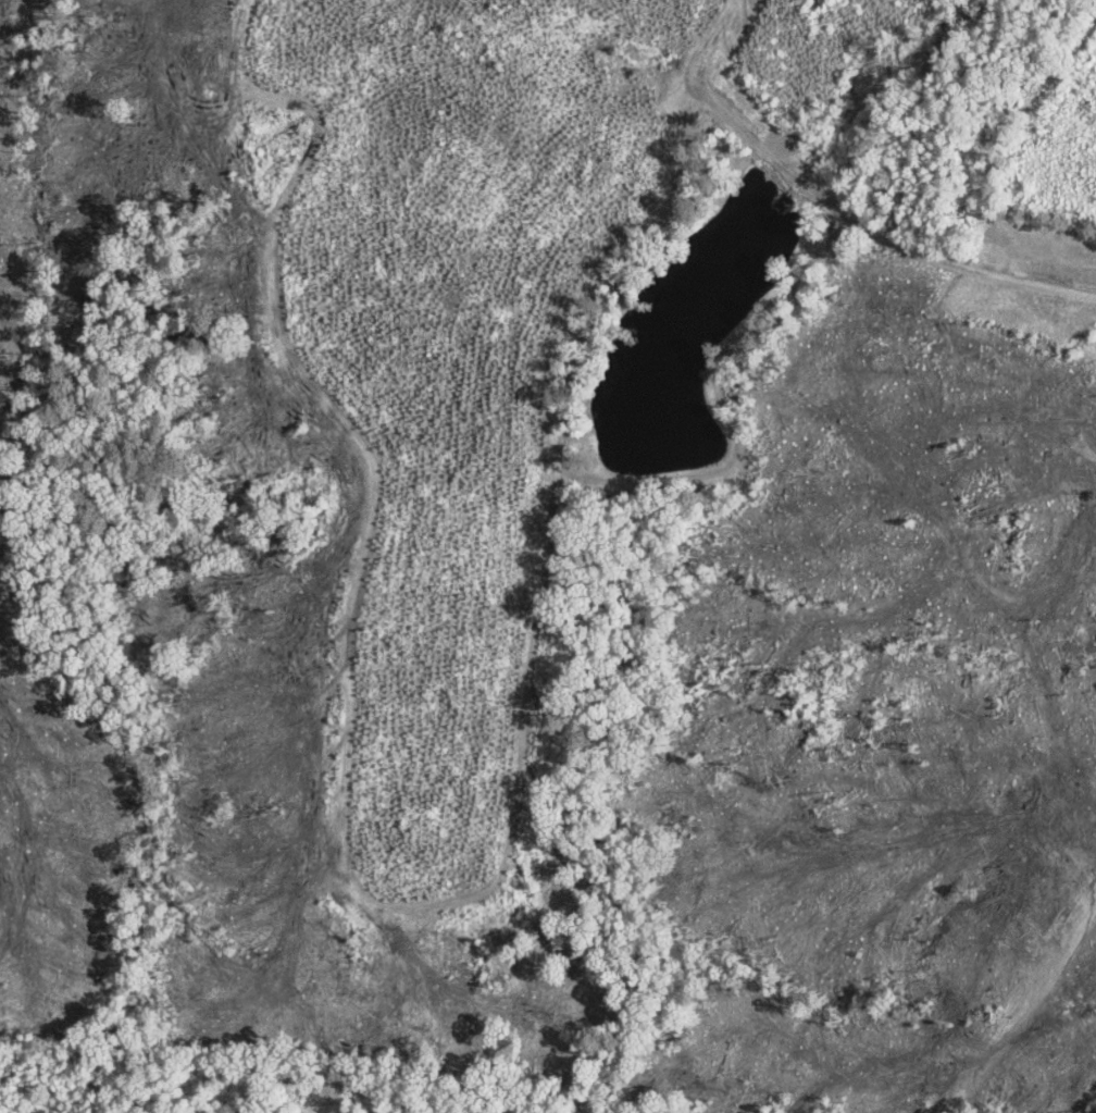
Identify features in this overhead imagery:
road: (896, 243)

